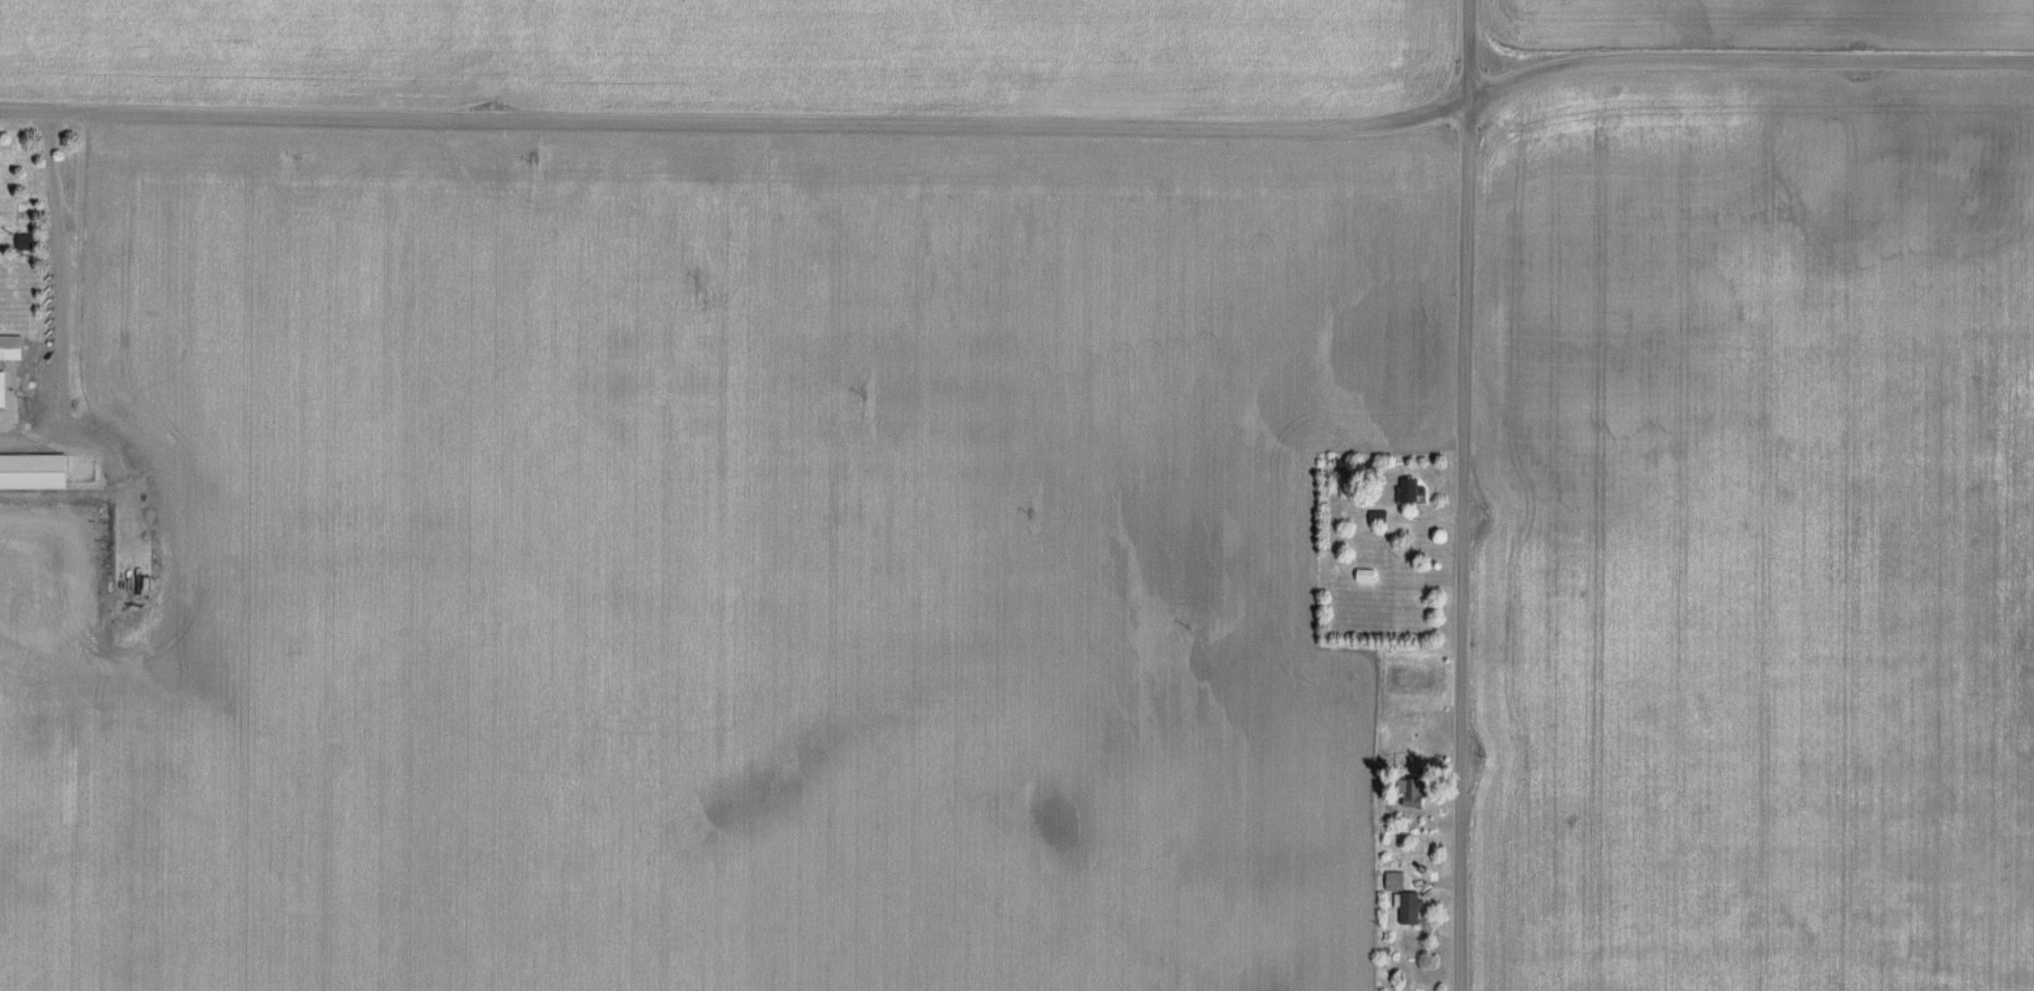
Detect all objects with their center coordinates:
road: (1746, 61)
road: (736, 121)
road: (53, 294)
building: (4, 391)
building: (35, 471)
building: (1410, 492)
road: (1463, 495)
building: (1380, 518)
building: (1369, 575)
building: (1419, 793)
building: (1396, 881)

